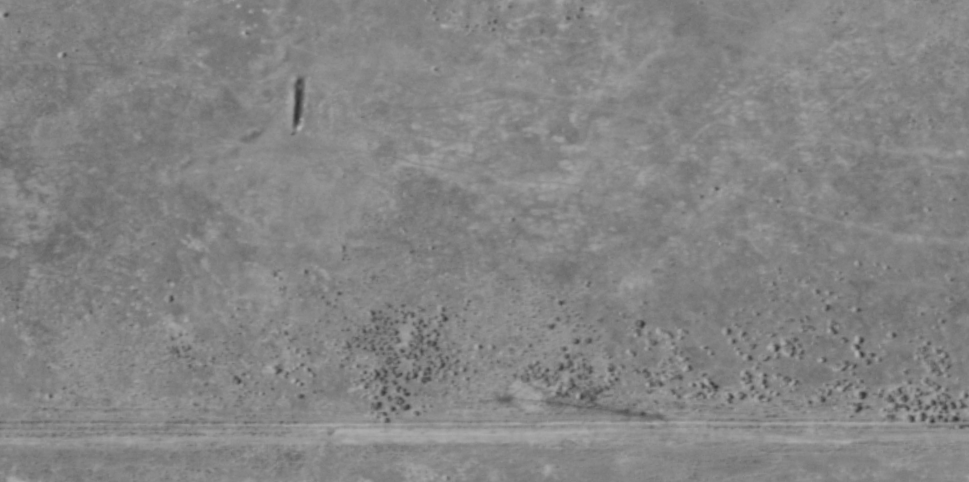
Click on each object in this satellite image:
power tower: (541, 390)

